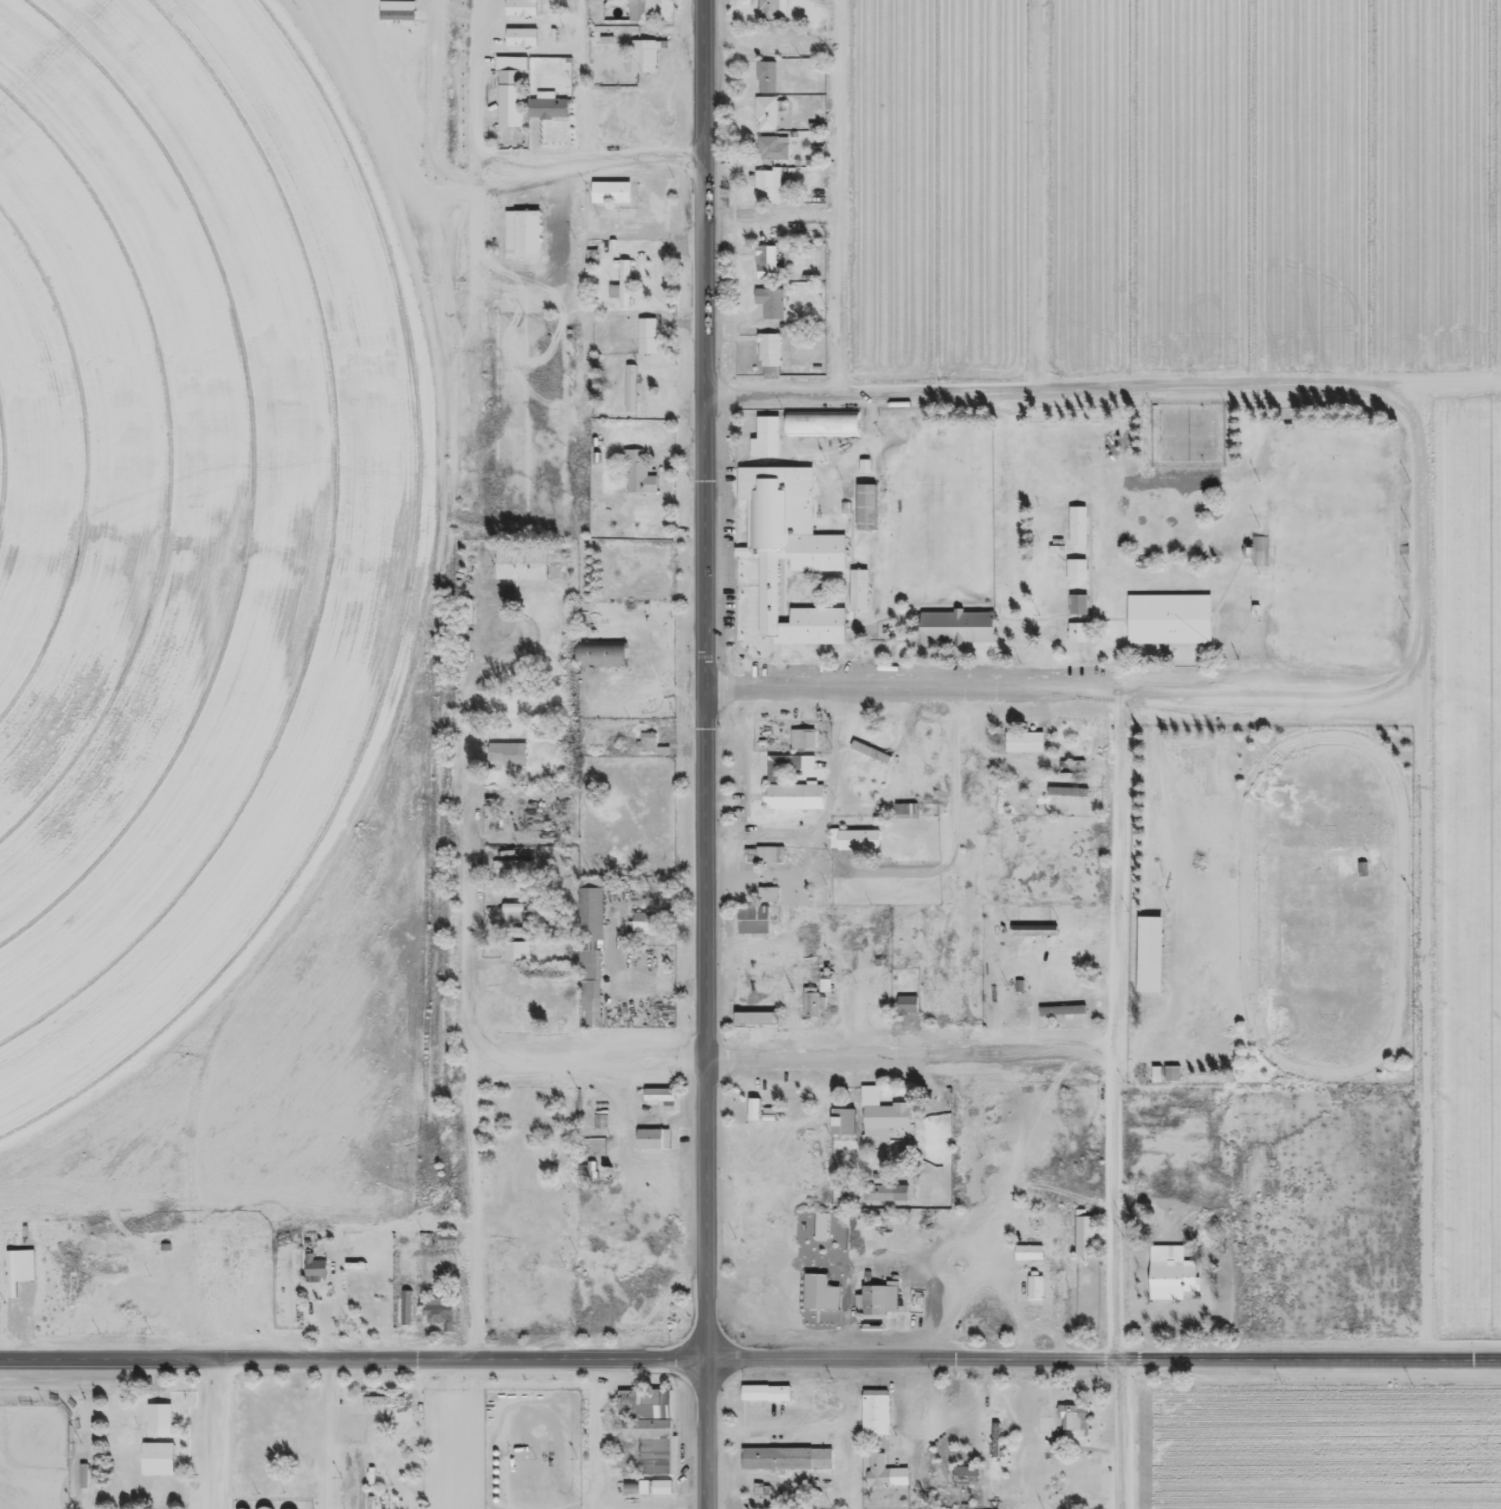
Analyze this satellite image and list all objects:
building: (525, 9)
building: (772, 11)
building: (649, 13)
building: (526, 41)
building: (650, 58)
road: (585, 80)
building: (770, 81)
road: (480, 83)
building: (510, 103)
building: (549, 112)
building: (771, 116)
building: (776, 153)
road: (598, 159)
crop: (1173, 189)
building: (771, 192)
building: (614, 196)
road: (840, 197)
building: (524, 240)
building: (769, 268)
building: (623, 283)
building: (773, 307)
building: (650, 340)
building: (771, 355)
building: (629, 387)
building: (636, 393)
road: (1208, 394)
building: (824, 429)
building: (769, 443)
building: (642, 479)
building: (845, 499)
building: (869, 513)
building: (1080, 531)
building: (1258, 550)
building: (789, 556)
crop: (186, 562)
building: (524, 567)
building: (1079, 577)
building: (860, 594)
building: (1077, 603)
building: (1082, 612)
building: (1171, 624)
building: (1076, 631)
building: (960, 634)
building: (603, 659)
road: (706, 679)
road: (1059, 687)
building: (1023, 741)
building: (809, 744)
building: (505, 753)
building: (876, 758)
building: (785, 770)
building: (796, 803)
building: (905, 810)
building: (860, 843)
building: (507, 867)
building: (764, 888)
building: (771, 898)
building: (645, 923)
building: (753, 924)
building: (592, 948)
building: (514, 949)
building: (1152, 961)
building: (828, 986)
road: (471, 990)
building: (906, 1004)
building: (812, 1008)
building: (1060, 1009)
building: (756, 1022)
road: (1120, 1025)
road: (587, 1051)
road: (911, 1055)
building: (1171, 1073)
building: (664, 1102)
building: (891, 1124)
building: (844, 1125)
building: (652, 1145)
building: (891, 1187)
building: (822, 1220)
building: (1085, 1233)
building: (443, 1239)
building: (1028, 1245)
building: (312, 1259)
building: (355, 1259)
building: (1169, 1273)
building: (1034, 1281)
building: (874, 1295)
building: (822, 1296)
building: (406, 1301)
building: (437, 1311)
road: (354, 1361)
road: (1104, 1362)
building: (769, 1397)
building: (157, 1417)
building: (1072, 1417)
building: (878, 1419)
building: (649, 1428)
road: (707, 1434)
road: (220, 1435)
road: (1118, 1436)
building: (157, 1451)
building: (785, 1452)
building: (964, 1474)
building: (82, 1476)
building: (888, 1478)
building: (974, 1507)

